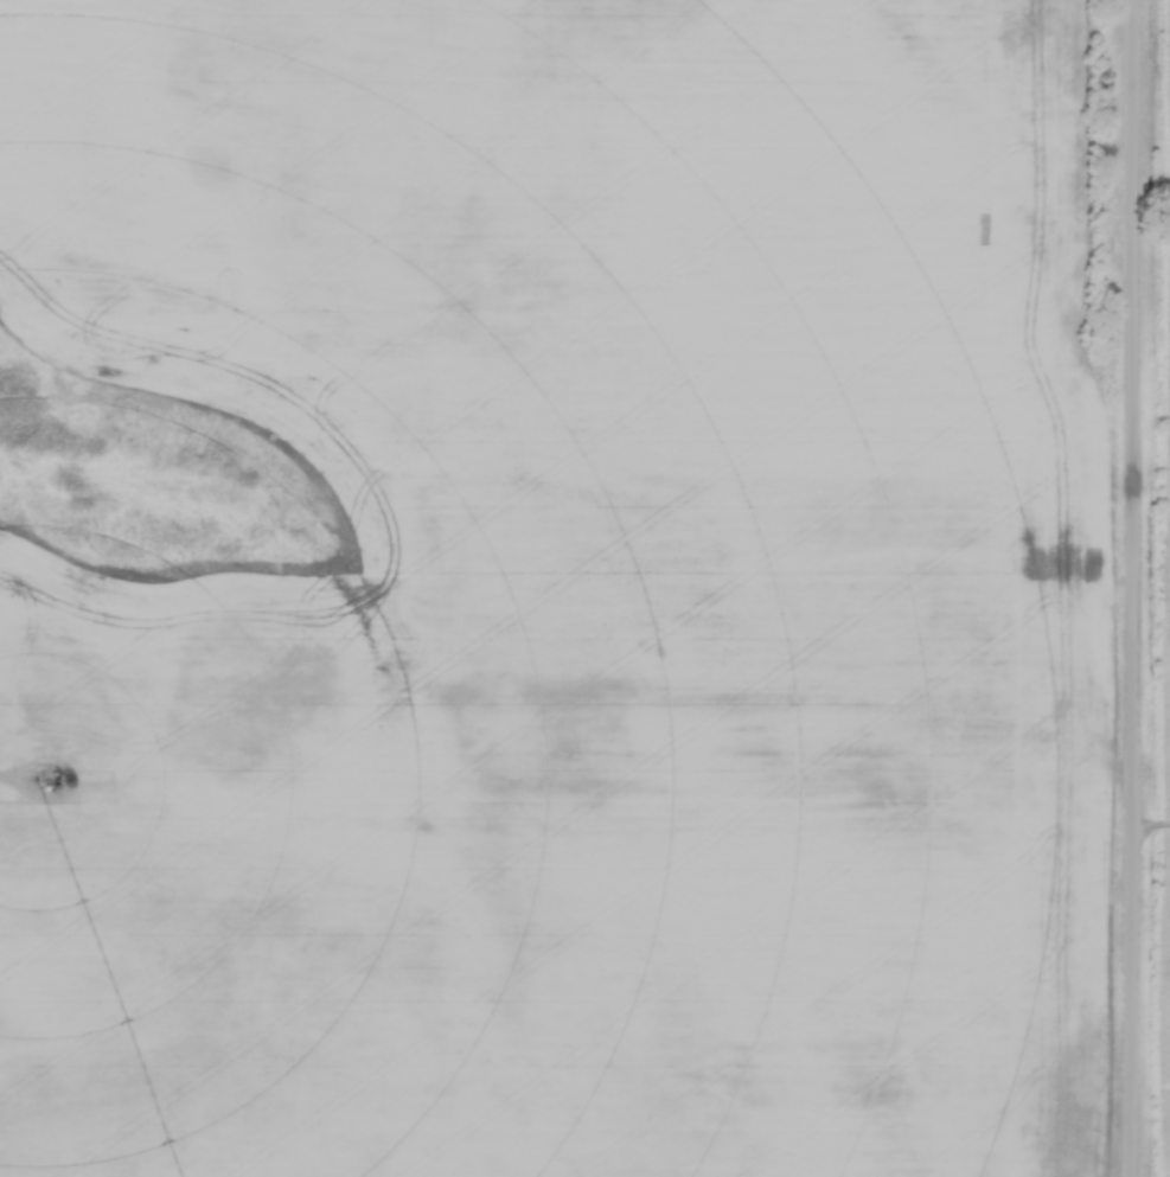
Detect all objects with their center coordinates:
road: (1133, 588)

